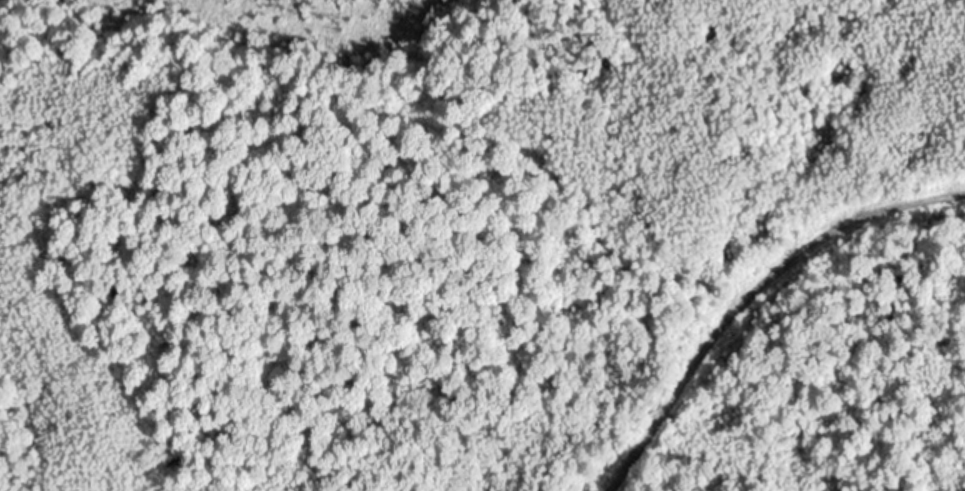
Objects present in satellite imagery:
road: (744, 288)

